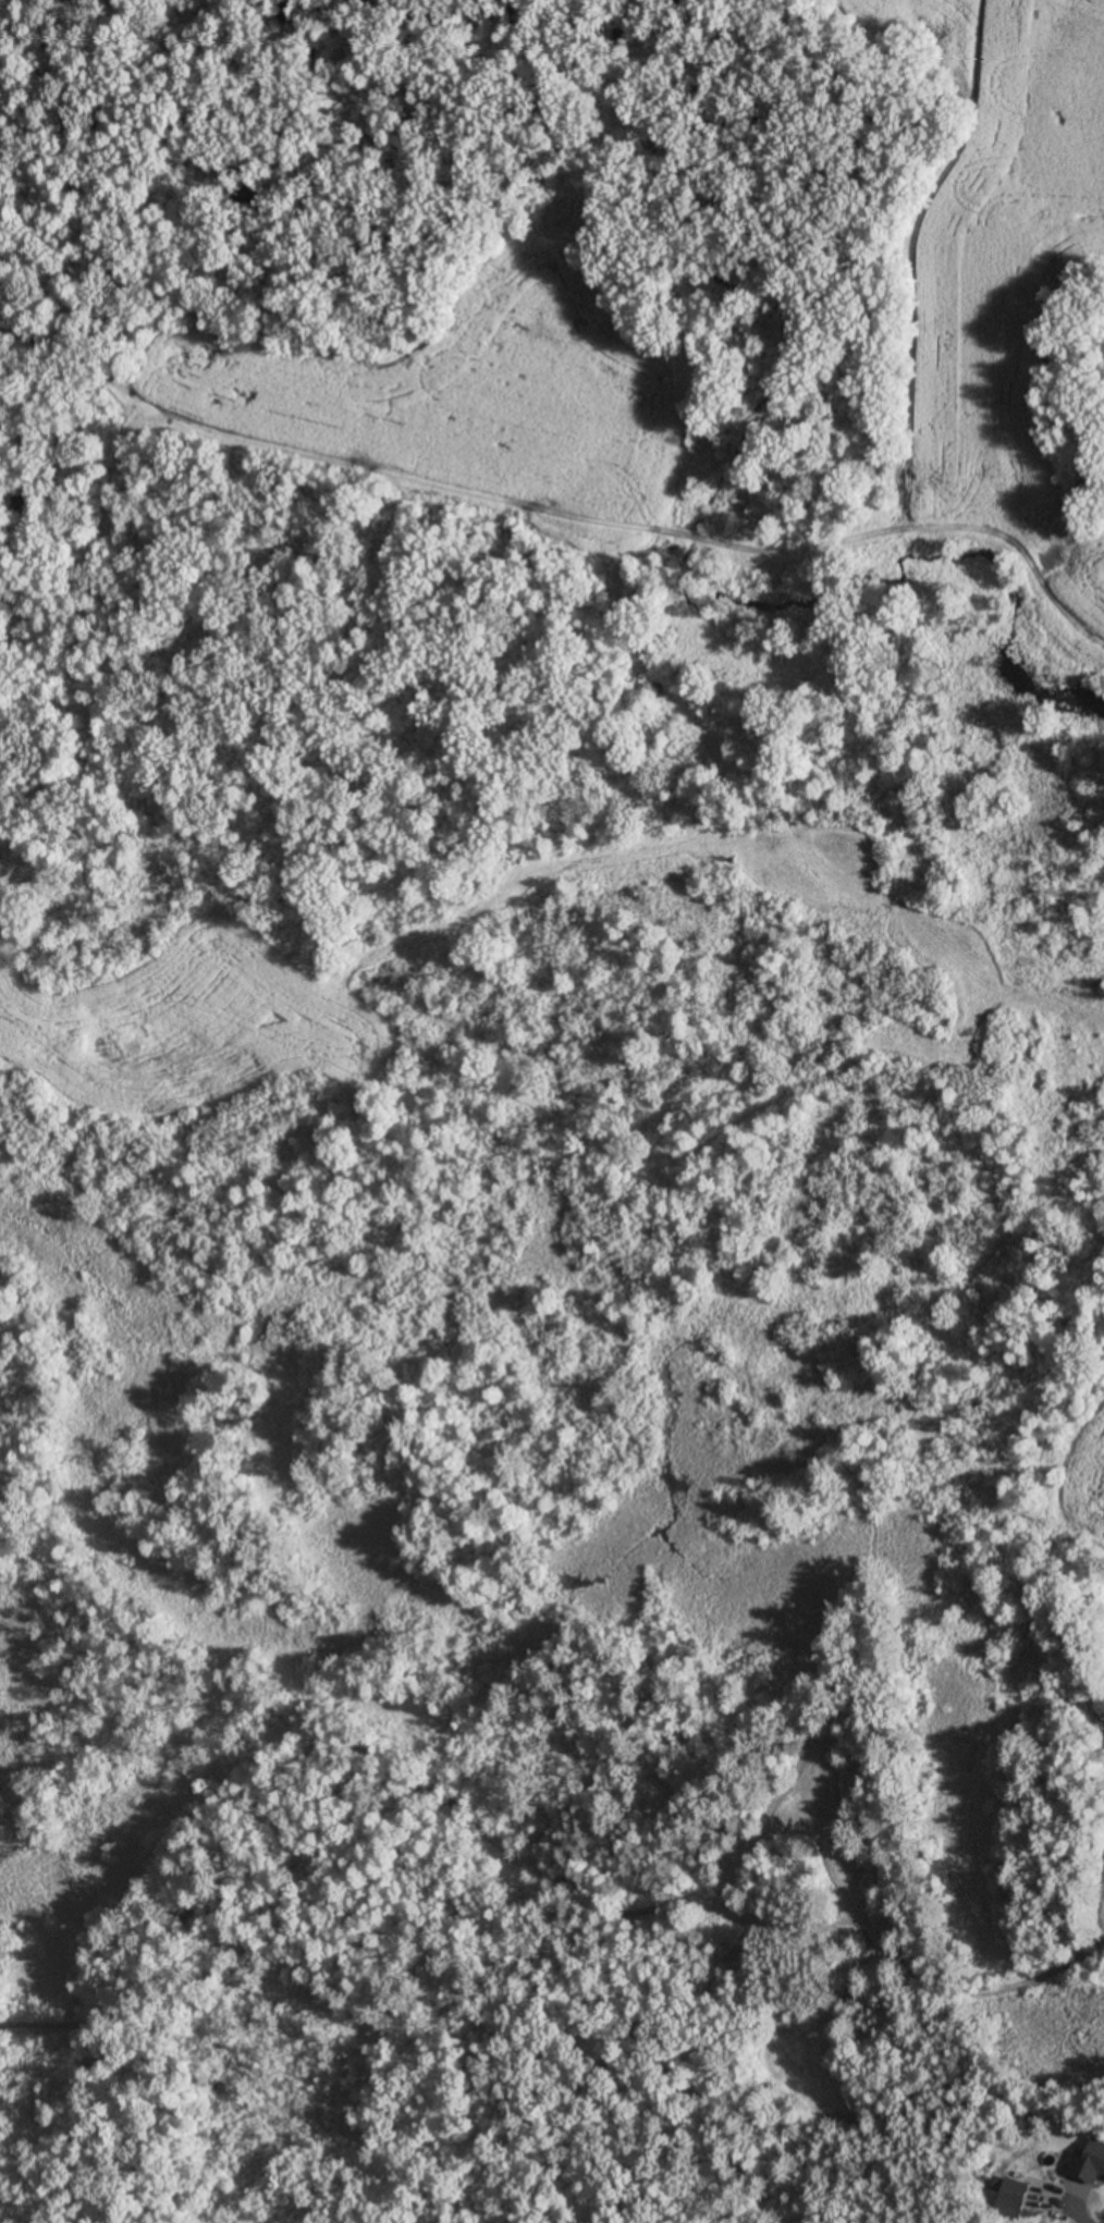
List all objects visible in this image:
building: (1092, 2161)
road: (1071, 2211)

